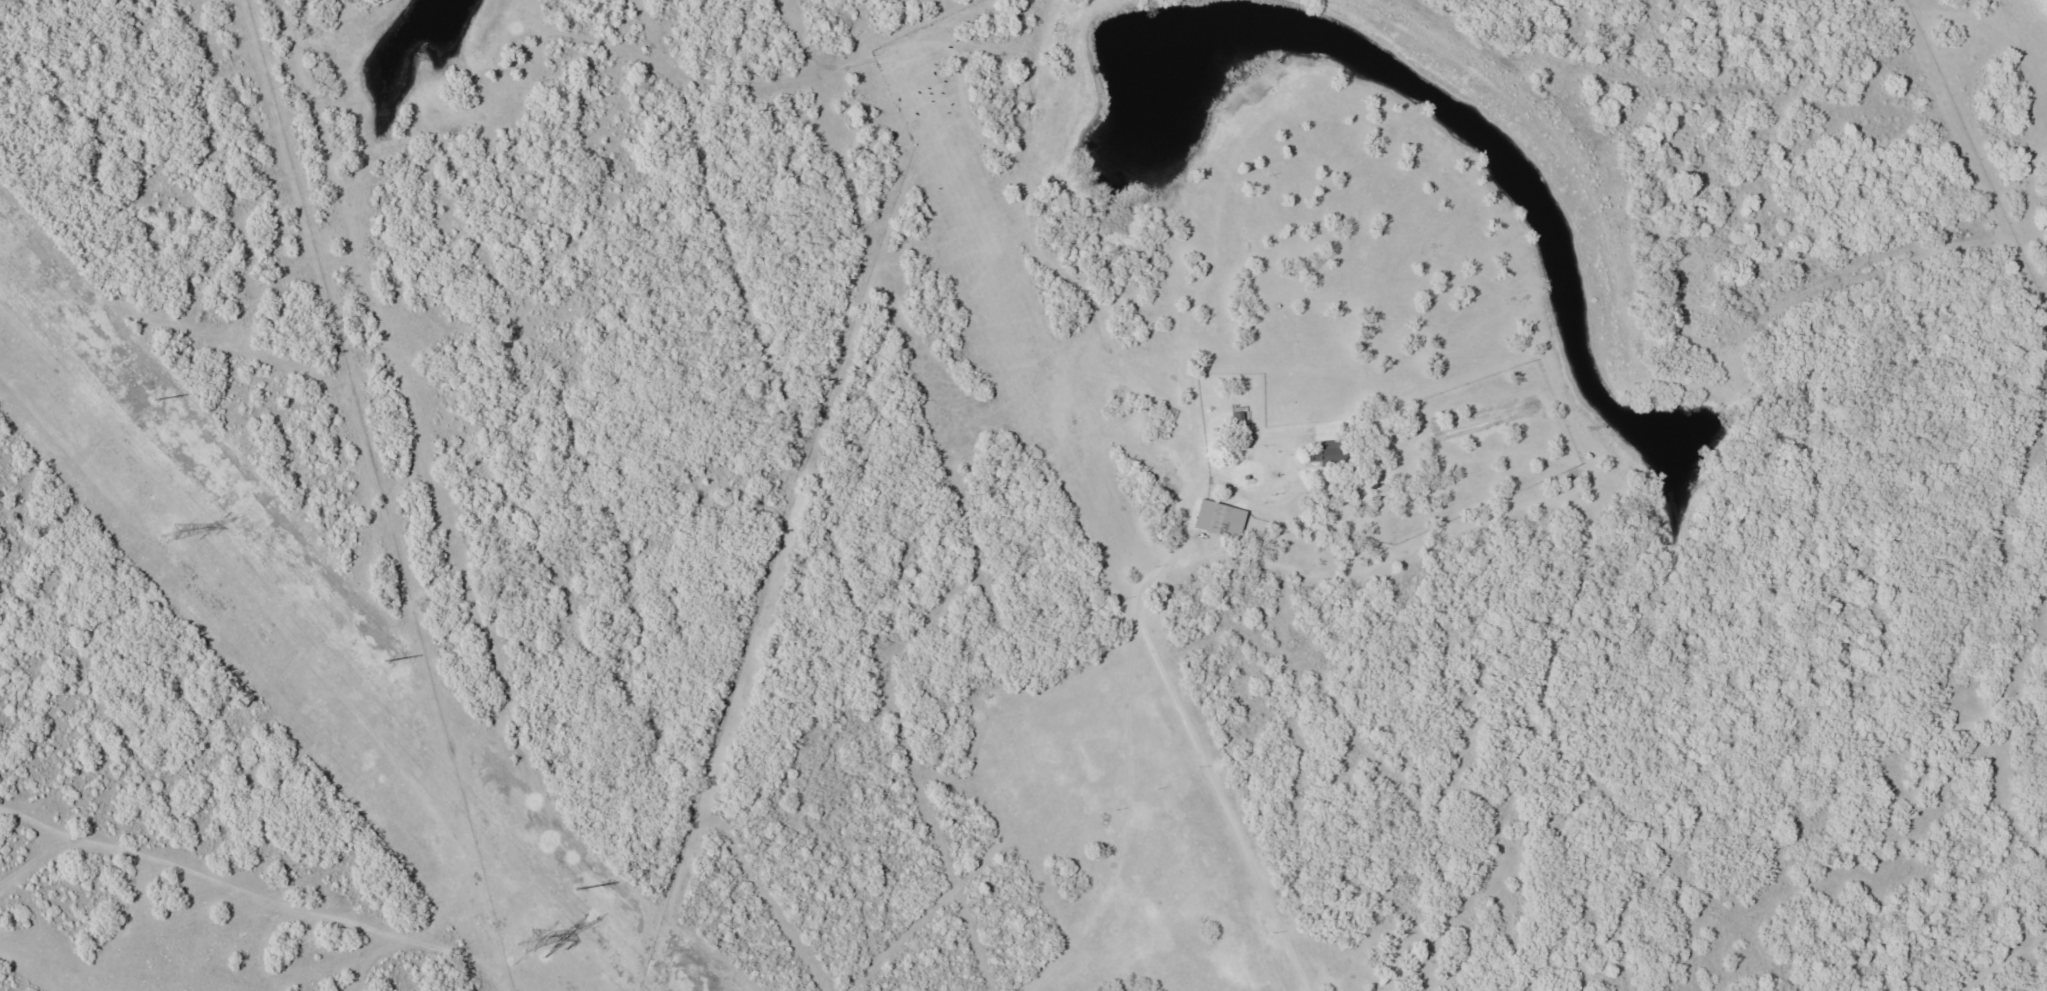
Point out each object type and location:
building: (1237, 428)
building: (1324, 453)
building: (1219, 521)
power tower: (169, 531)
power tower: (529, 939)

